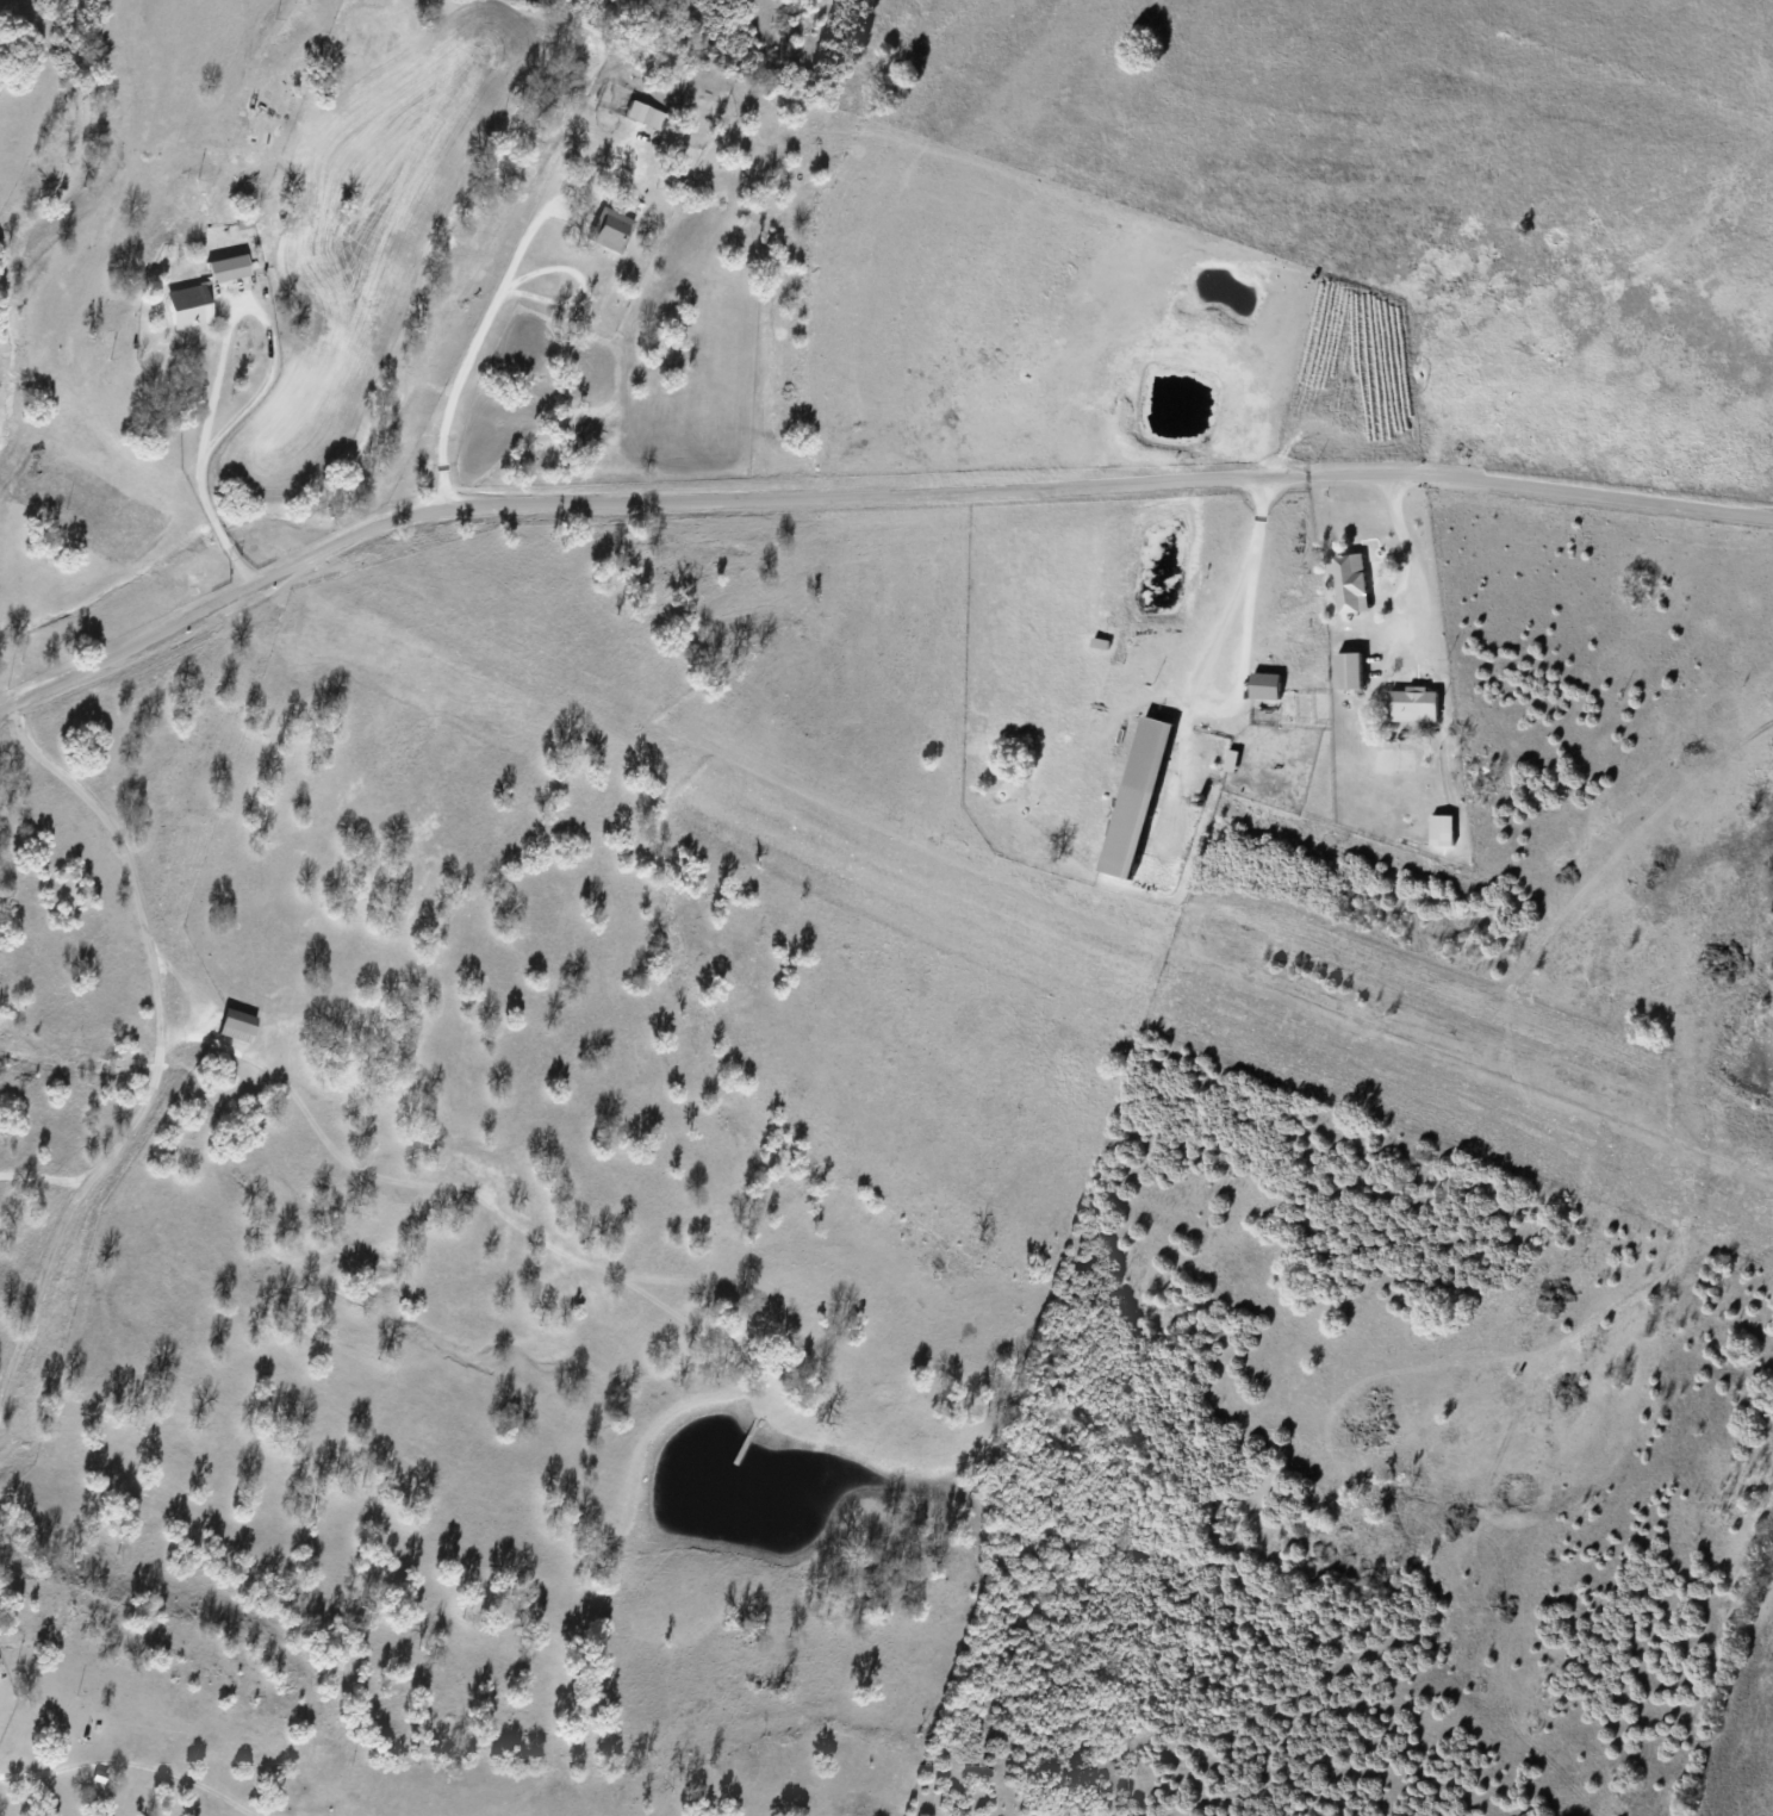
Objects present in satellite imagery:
building: (228, 268)
building: (187, 306)
road: (865, 497)
building: (1350, 583)
building: (1346, 670)
building: (1264, 685)
building: (1411, 705)
building: (1134, 797)
building: (237, 1025)
road: (163, 1084)
building: (99, 1774)

